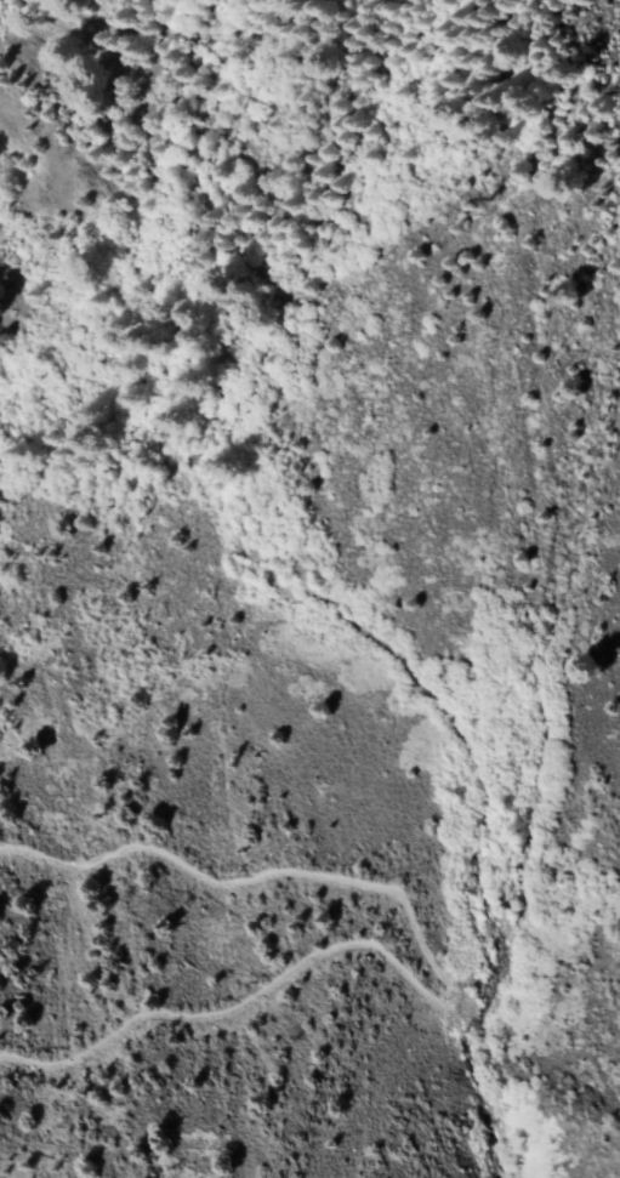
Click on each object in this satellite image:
road: (152, 23)
road: (451, 985)

